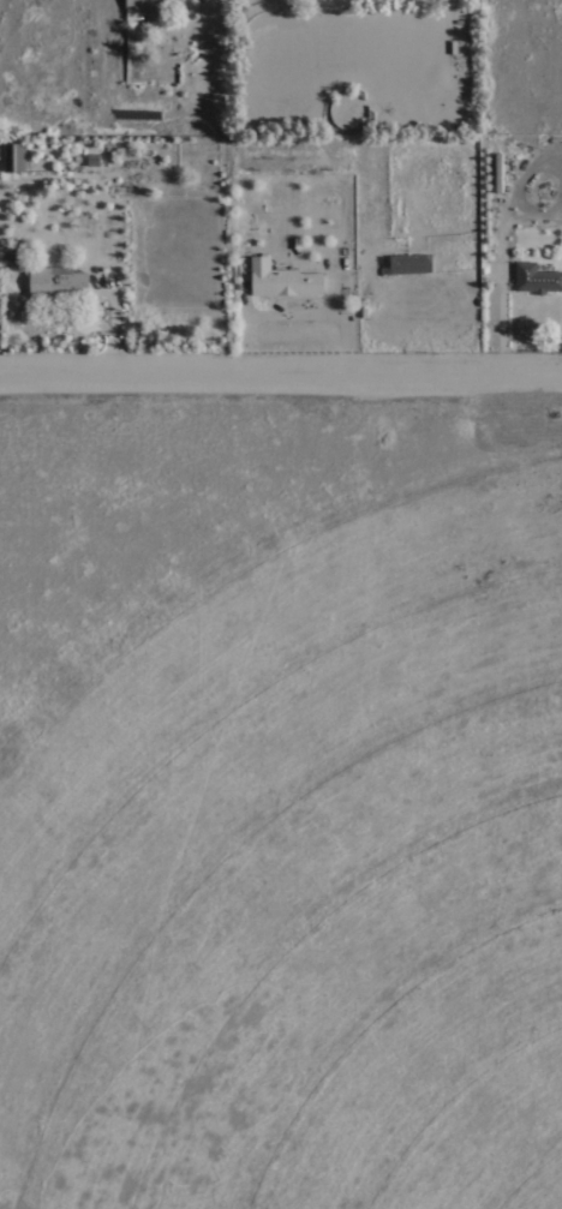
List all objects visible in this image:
building: (150, 6)
building: (13, 156)
building: (423, 267)
building: (536, 277)
building: (282, 279)
building: (58, 282)
road: (281, 372)
crop: (300, 863)

